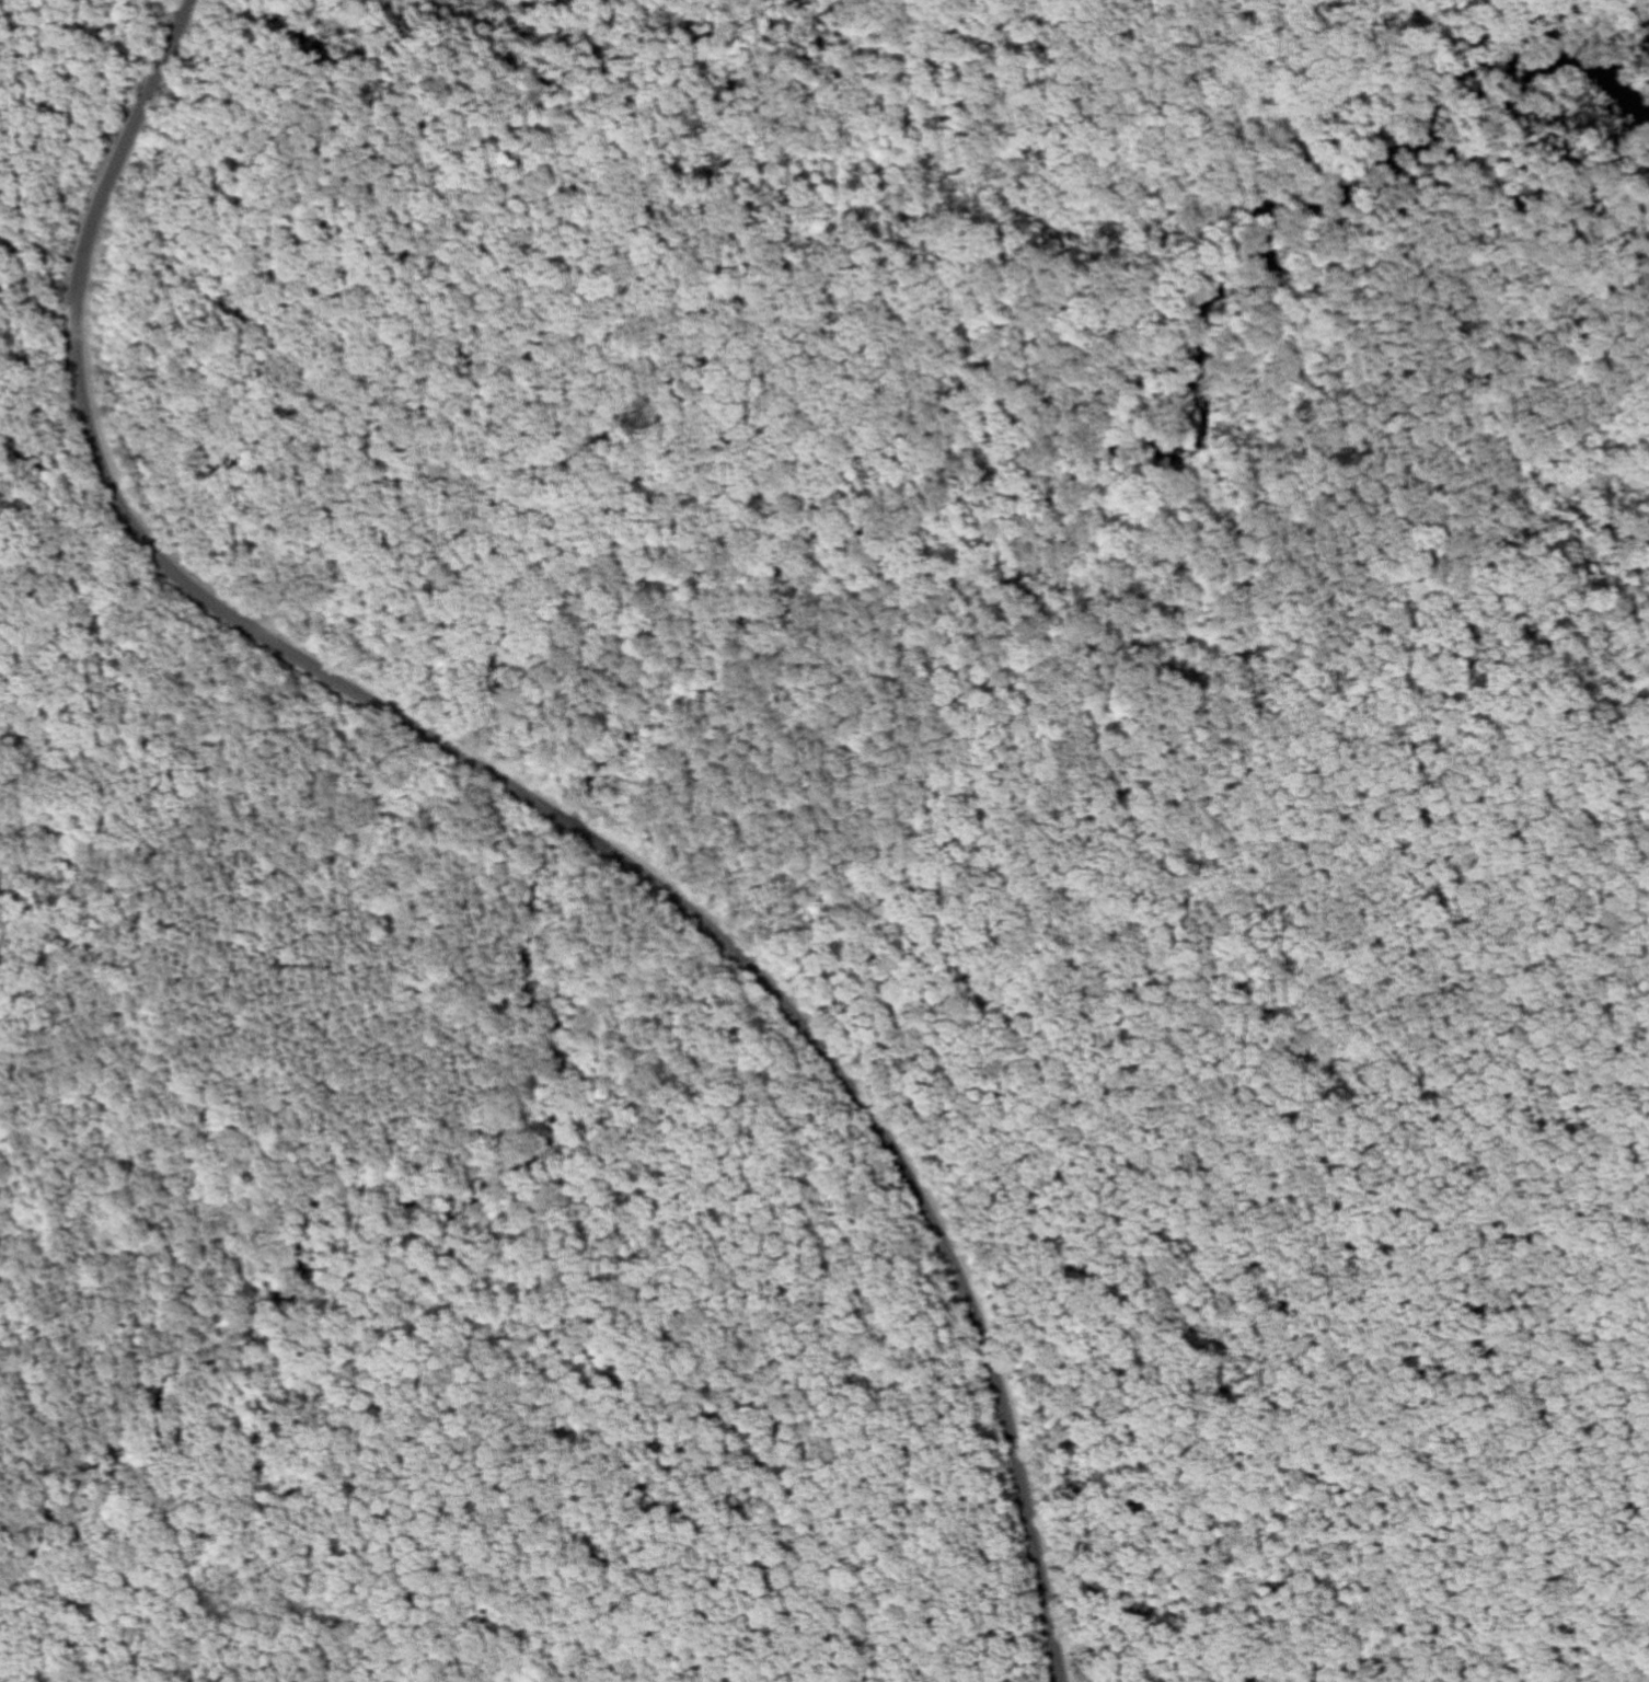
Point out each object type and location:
road: (766, 291)
road: (30, 295)
road: (376, 682)
road: (541, 806)
road: (1537, 1655)

